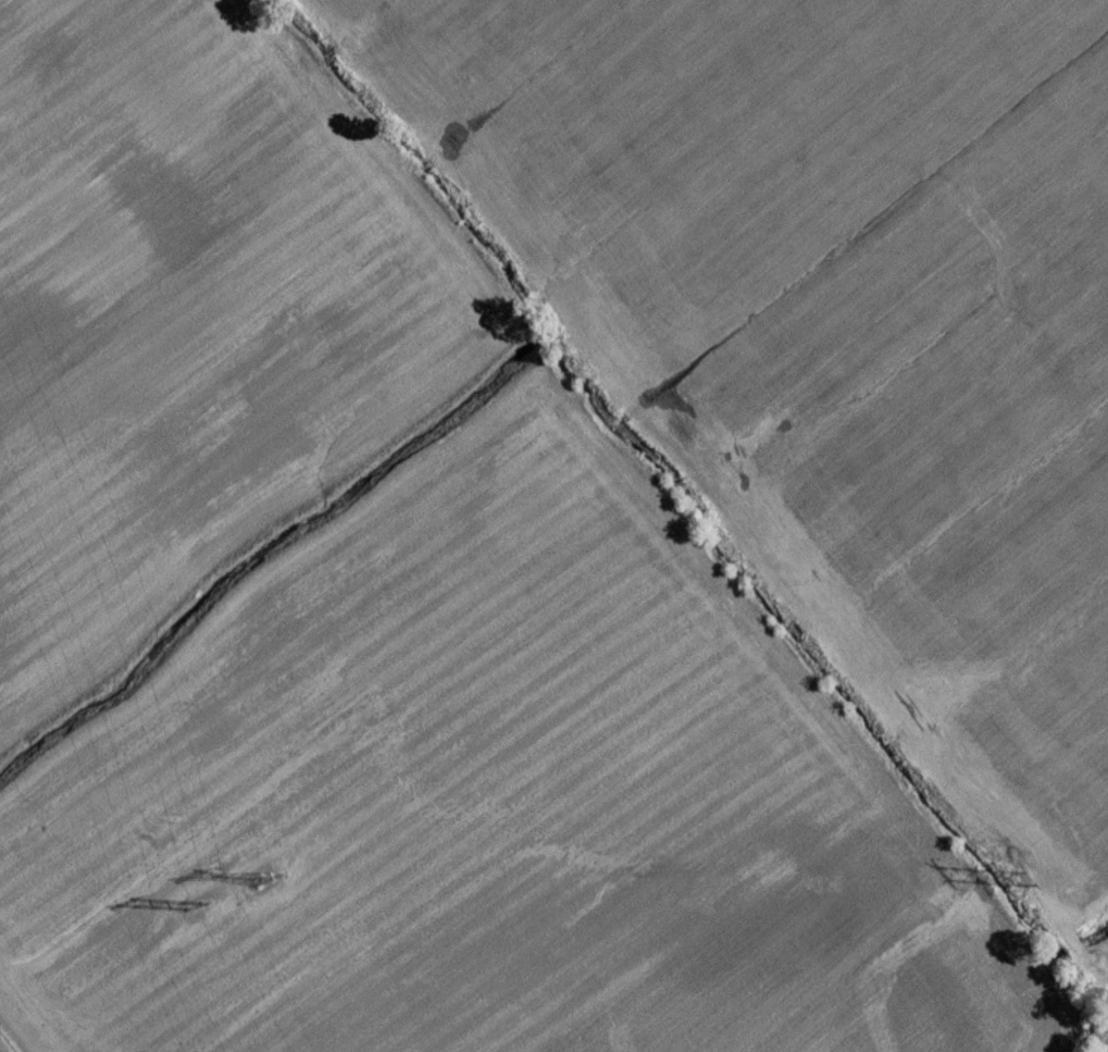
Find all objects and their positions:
power tower: (258, 889)
power tower: (1016, 889)
power tower: (188, 912)

